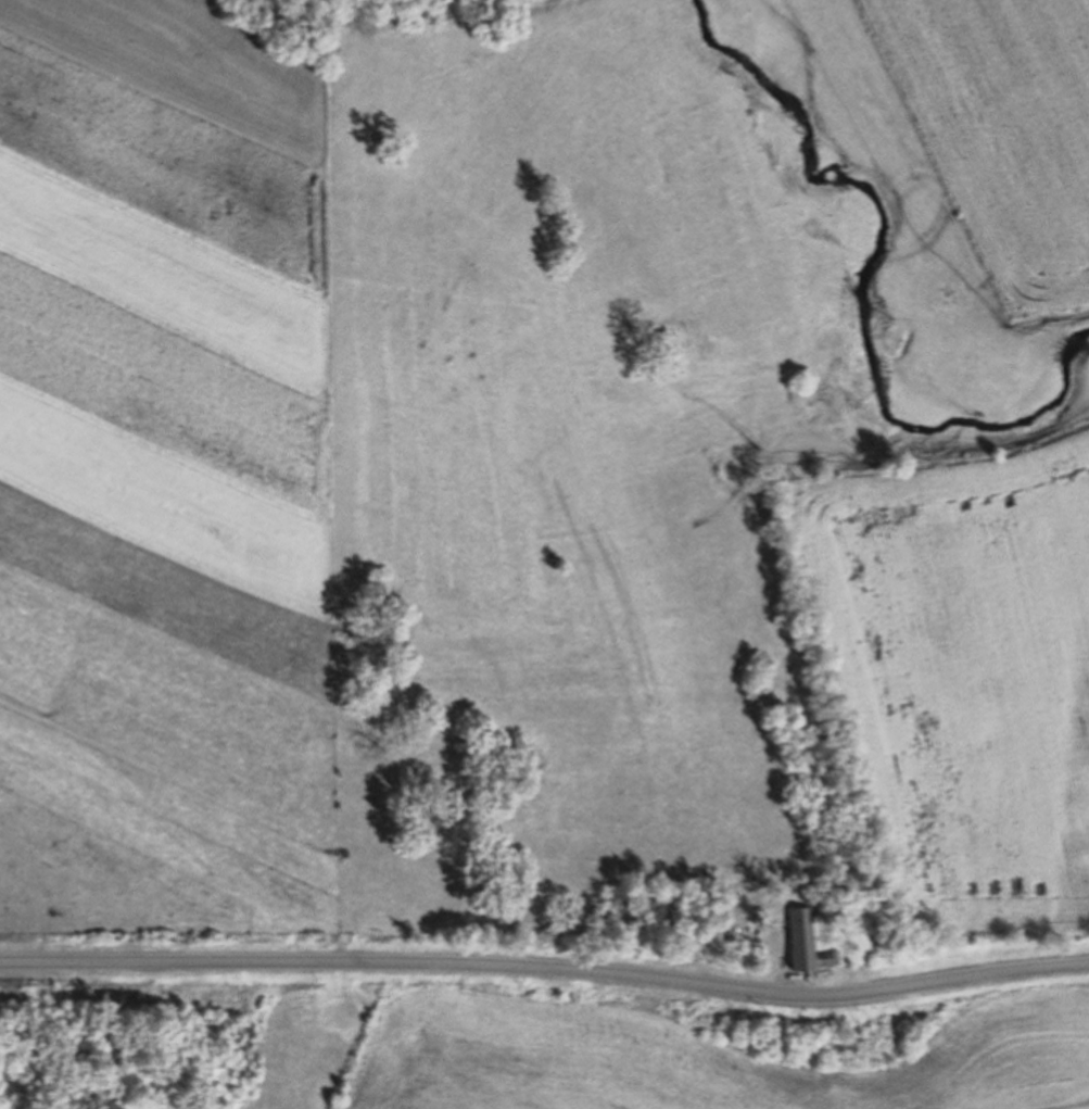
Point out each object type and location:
building: (808, 942)
road: (546, 967)

